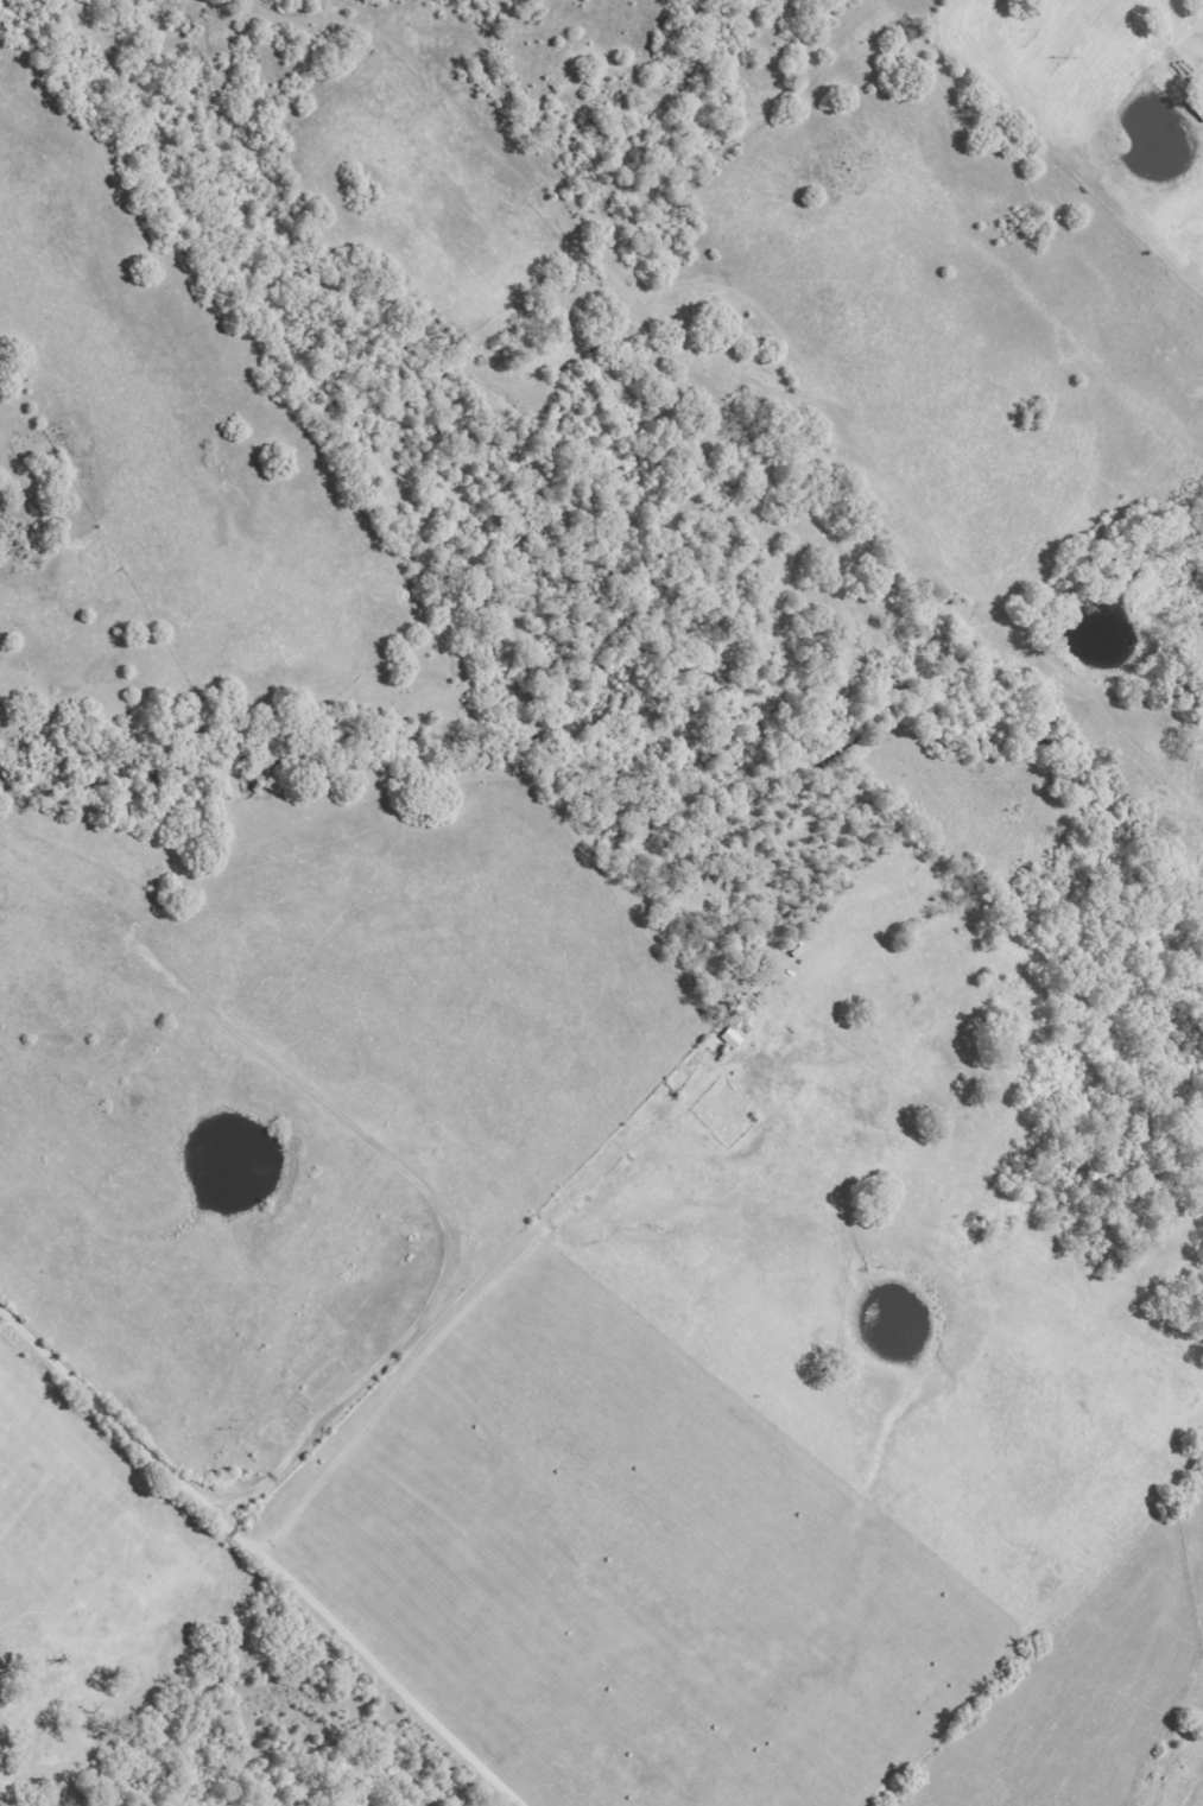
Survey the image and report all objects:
road: (768, 484)
petroleum well: (138, 962)
road: (113, 1420)

